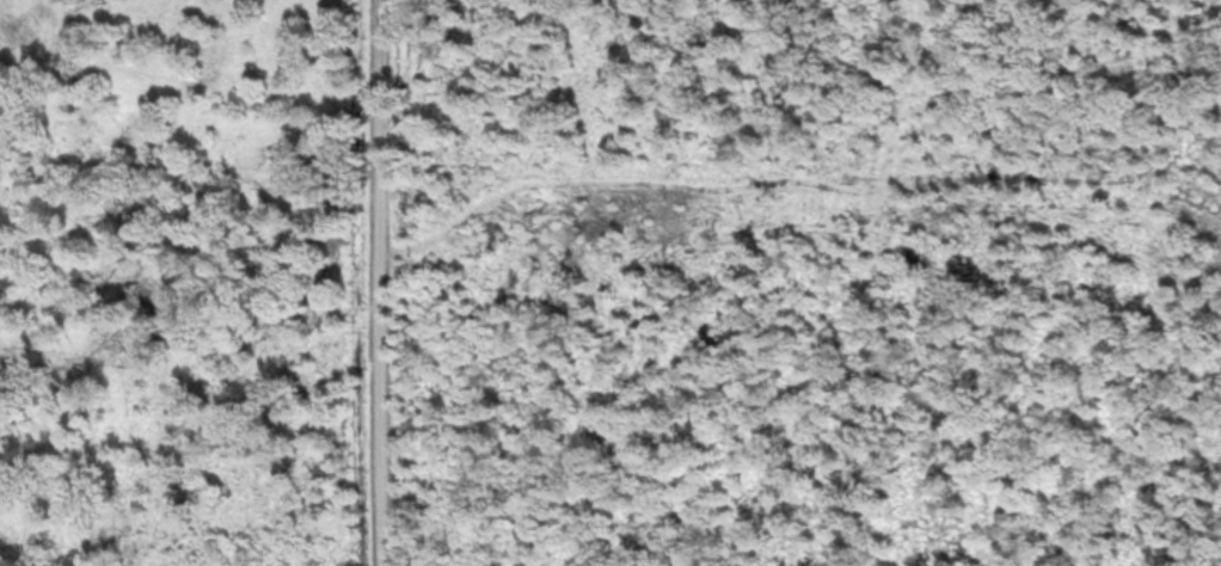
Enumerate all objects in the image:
road: (373, 282)

